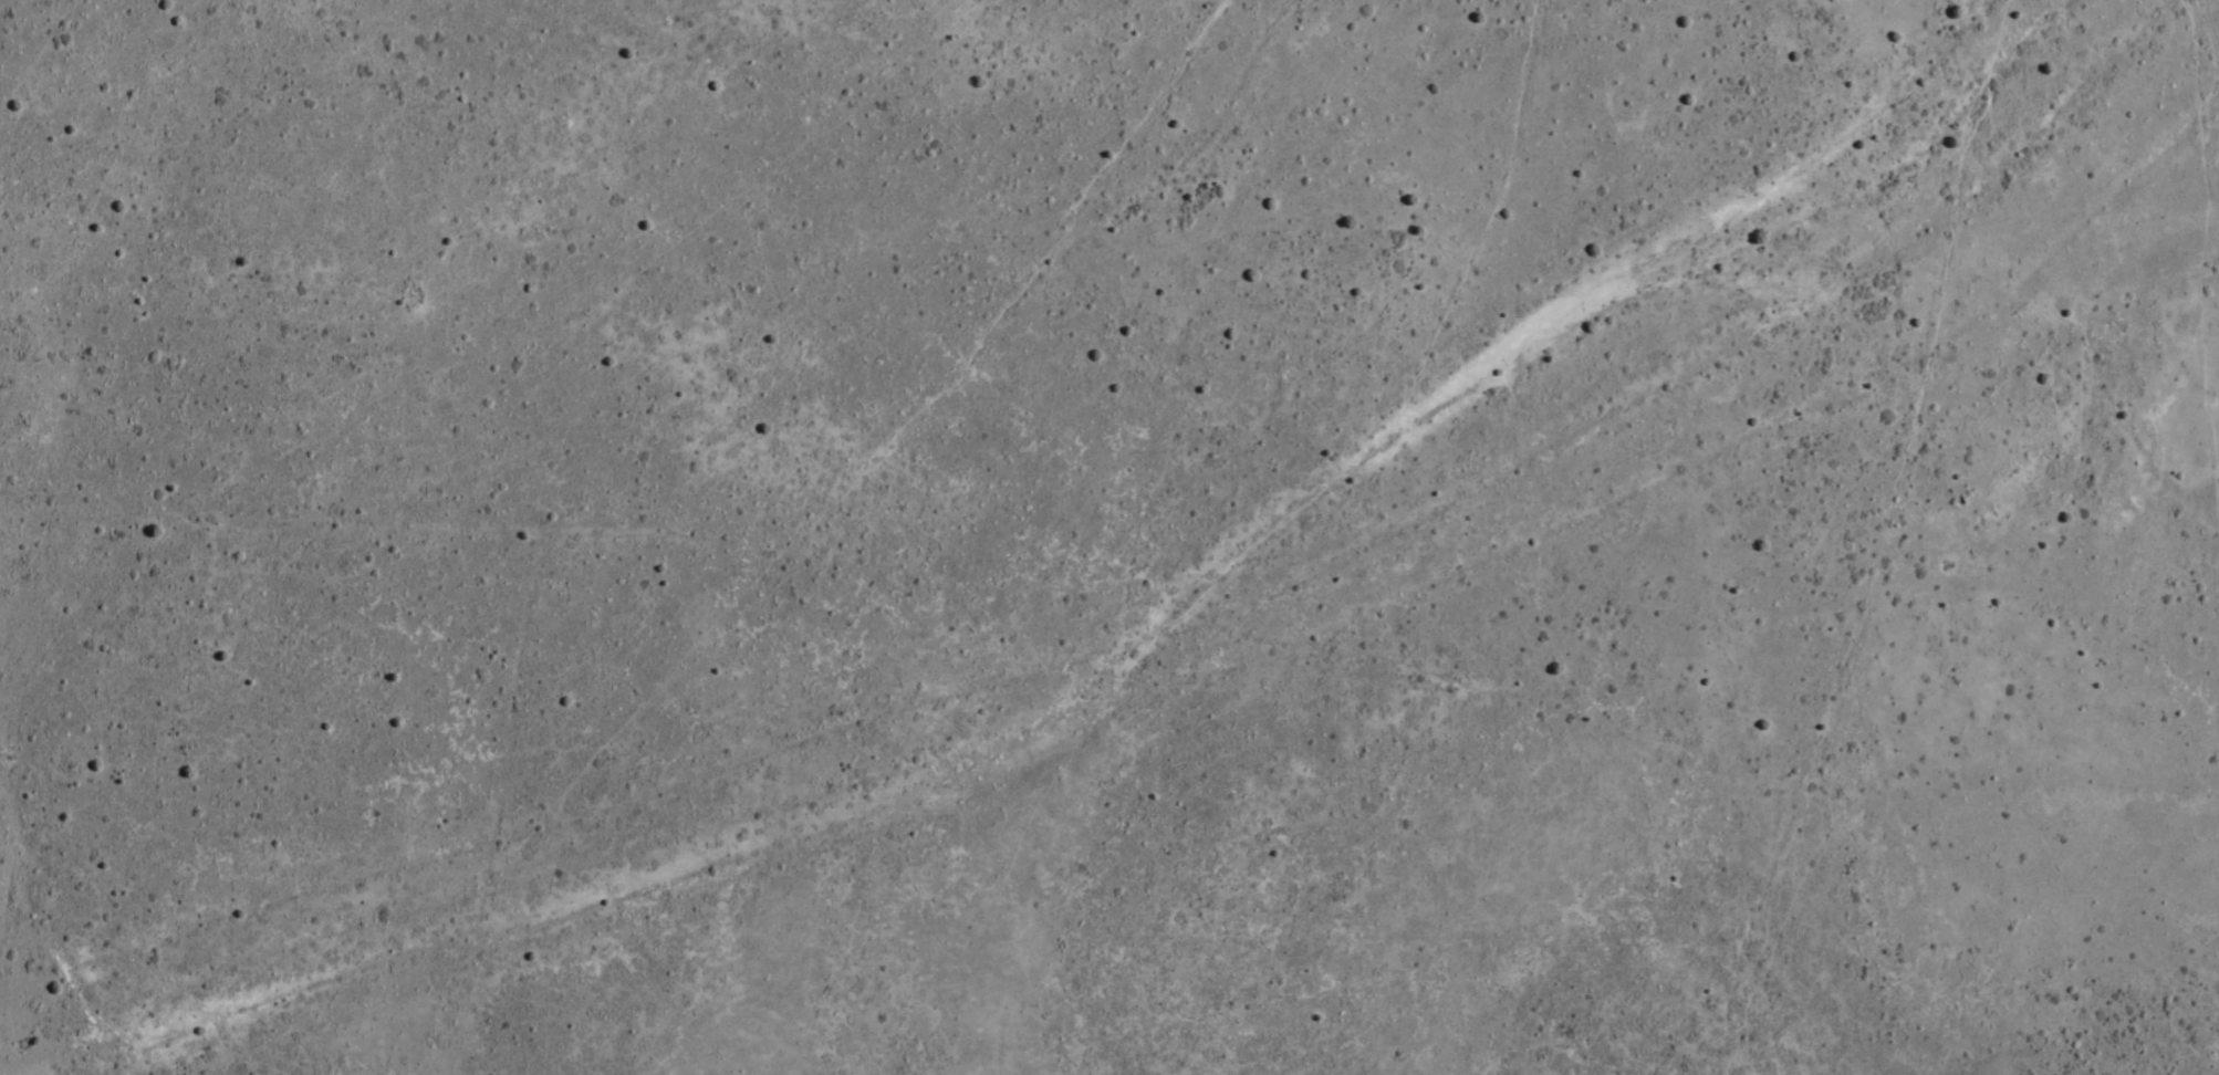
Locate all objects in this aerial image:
road: (1148, 662)

